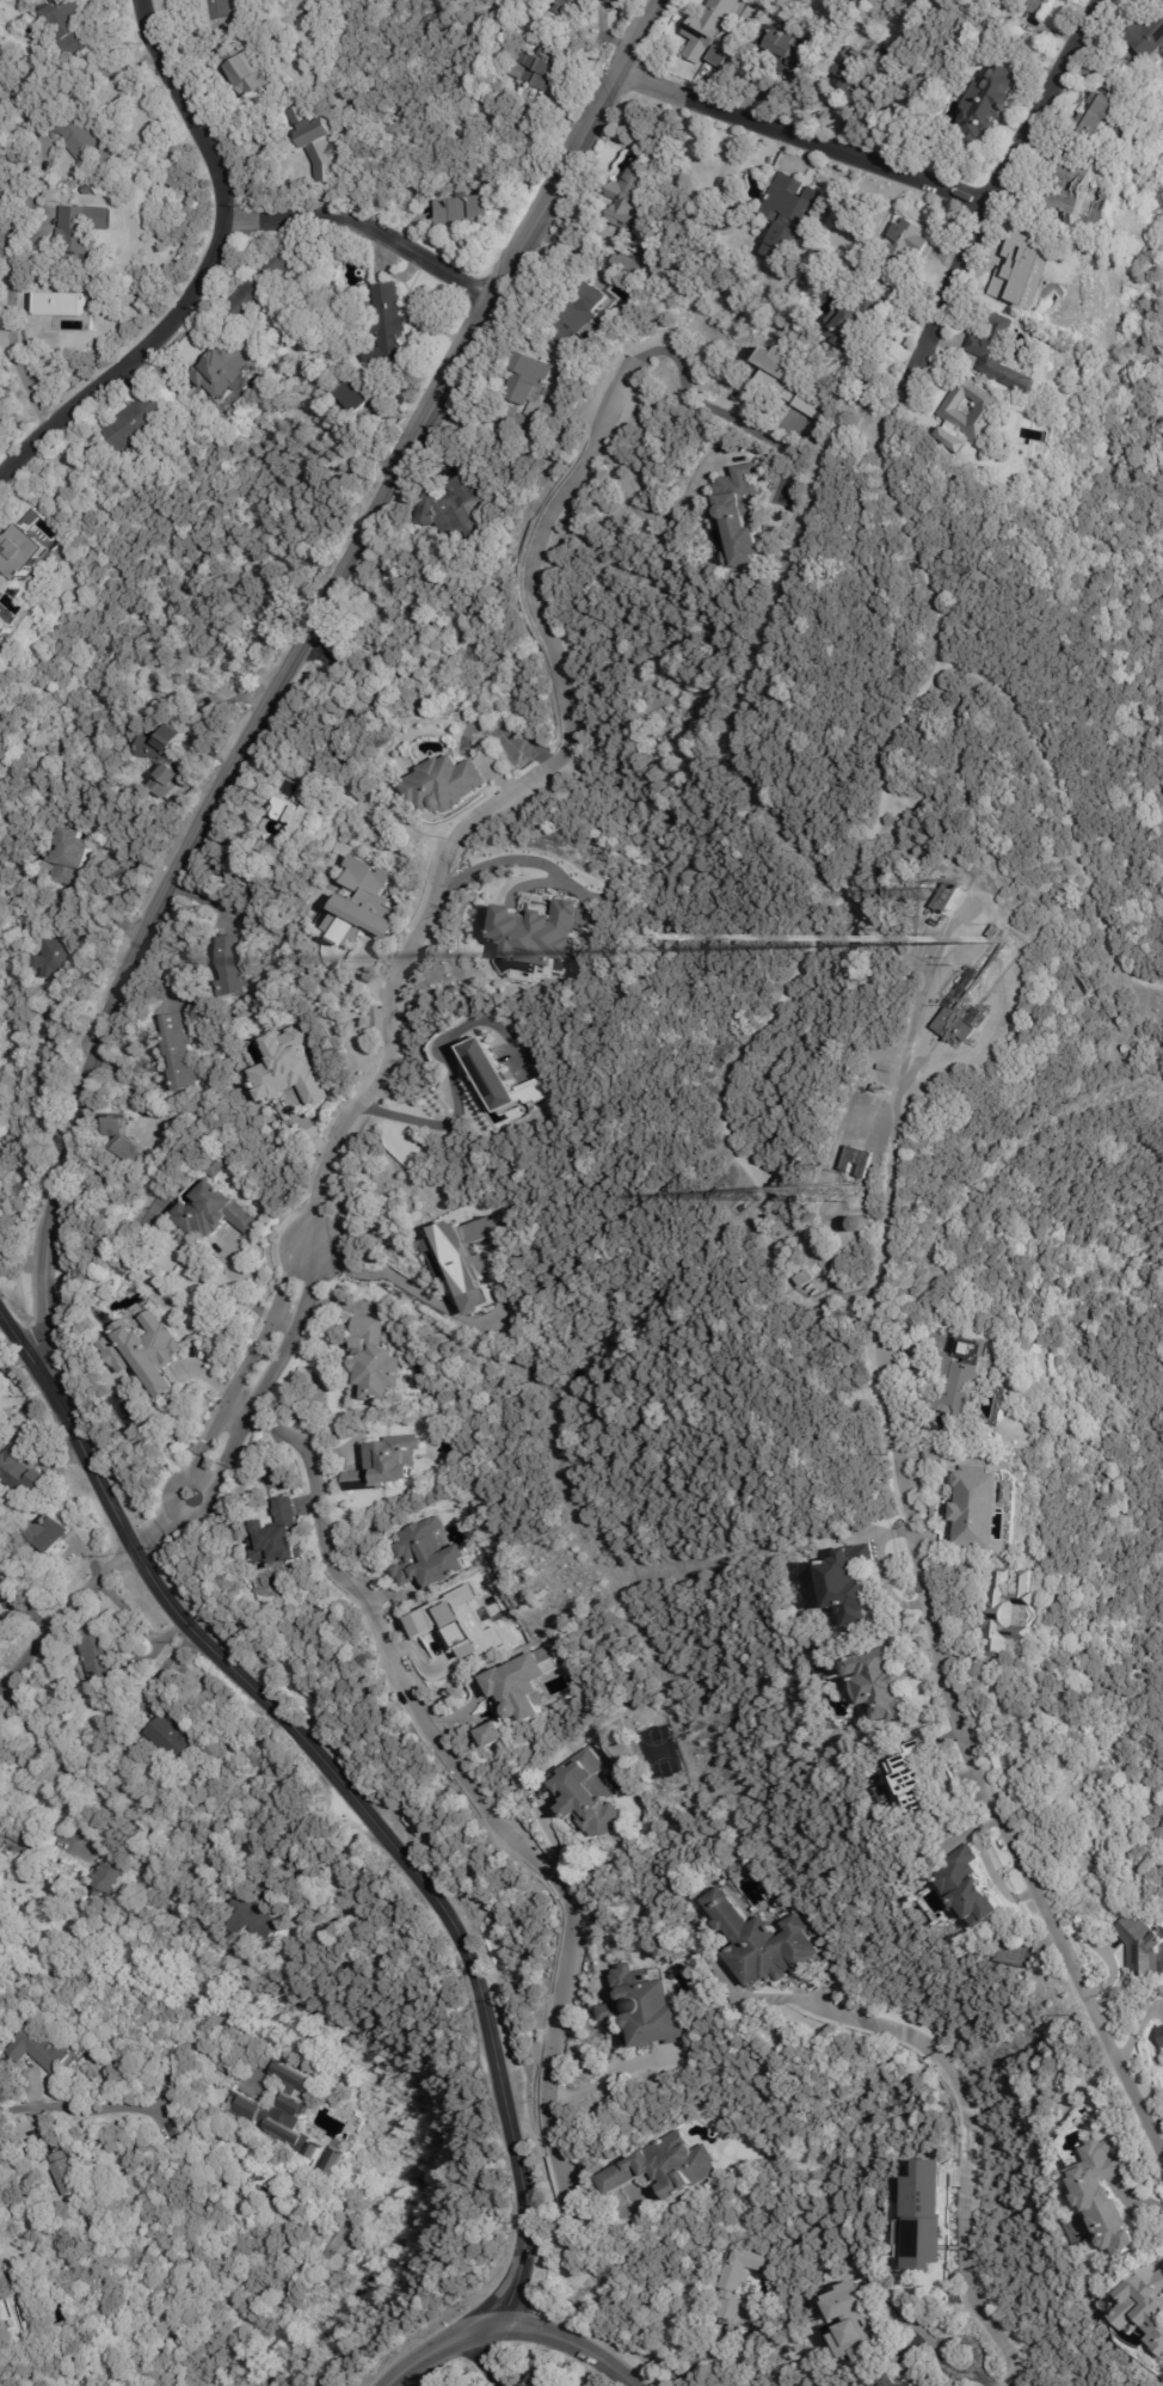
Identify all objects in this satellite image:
building: (613, 1)
building: (566, 2)
building: (1036, 7)
building: (217, 10)
building: (74, 27)
building: (708, 30)
building: (1149, 35)
building: (789, 48)
building: (715, 55)
building: (0, 56)
building: (245, 69)
building: (535, 69)
building: (849, 72)
building: (6, 81)
building: (1115, 82)
building: (989, 104)
building: (1100, 116)
road: (796, 139)
building: (88, 141)
building: (316, 143)
building: (1078, 184)
building: (99, 191)
road: (983, 197)
building: (627, 198)
building: (463, 210)
building: (787, 215)
road: (363, 225)
building: (88, 227)
building: (907, 243)
building: (1023, 269)
road: (203, 271)
building: (263, 284)
building: (63, 303)
building: (577, 318)
building: (851, 323)
road: (10, 324)
building: (387, 327)
building: (1003, 355)
building: (221, 372)
building: (784, 379)
building: (528, 384)
road: (687, 393)
building: (351, 397)
building: (989, 412)
building: (8, 421)
building: (133, 423)
building: (1023, 435)
building: (455, 510)
road: (658, 514)
building: (740, 517)
building: (24, 550)
building: (1, 595)
building: (1, 624)
road: (282, 670)
building: (490, 680)
road: (341, 701)
building: (160, 746)
building: (164, 784)
building: (442, 785)
road: (493, 802)
building: (297, 811)
building: (67, 859)
road: (536, 863)
road: (531, 883)
building: (947, 896)
building: (361, 903)
building: (996, 930)
building: (534, 932)
building: (55, 961)
building: (230, 967)
building: (956, 1026)
building: (178, 1054)
building: (289, 1067)
building: (887, 1068)
building: (499, 1079)
building: (880, 1087)
road: (449, 1121)
building: (119, 1127)
building: (131, 1149)
building: (857, 1161)
building: (213, 1166)
building: (213, 1213)
building: (463, 1259)
building: (805, 1277)
road: (433, 1302)
road: (24, 1351)
building: (147, 1353)
building: (373, 1362)
building: (962, 1384)
road: (233, 1407)
building: (213, 1465)
building: (387, 1466)
building: (21, 1471)
building: (982, 1508)
building: (937, 1513)
building: (51, 1532)
building: (278, 1534)
building: (429, 1554)
building: (848, 1582)
building: (1010, 1612)
road: (67, 1618)
building: (99, 1649)
road: (929, 1649)
building: (880, 1681)
building: (522, 1685)
building: (1002, 1699)
building: (494, 1732)
road: (35, 1735)
building: (167, 1737)
building: (917, 1773)
building: (1058, 1780)
road: (468, 1786)
building: (586, 1795)
road: (362, 1824)
building: (4, 1826)
building: (14, 1835)
building: (1, 1841)
building: (104, 1875)
building: (967, 1888)
building: (269, 1893)
building: (250, 1918)
building: (762, 1942)
building: (1142, 1944)
road: (596, 1946)
building: (644, 2010)
road: (611, 2012)
building: (1159, 2035)
building: (37, 2048)
road: (196, 2053)
road: (605, 2078)
road: (79, 2110)
building: (287, 2111)
road: (960, 2146)
building: (336, 2164)
building: (664, 2166)
building: (63, 2173)
building: (1103, 2196)
building: (922, 2215)
building: (742, 2278)
building: (1145, 2302)
building: (19, 2313)
road: (512, 2324)
building: (850, 2325)
road: (934, 2348)
road: (703, 2354)
road: (487, 2360)
building: (921, 2376)
building: (547, 2380)

